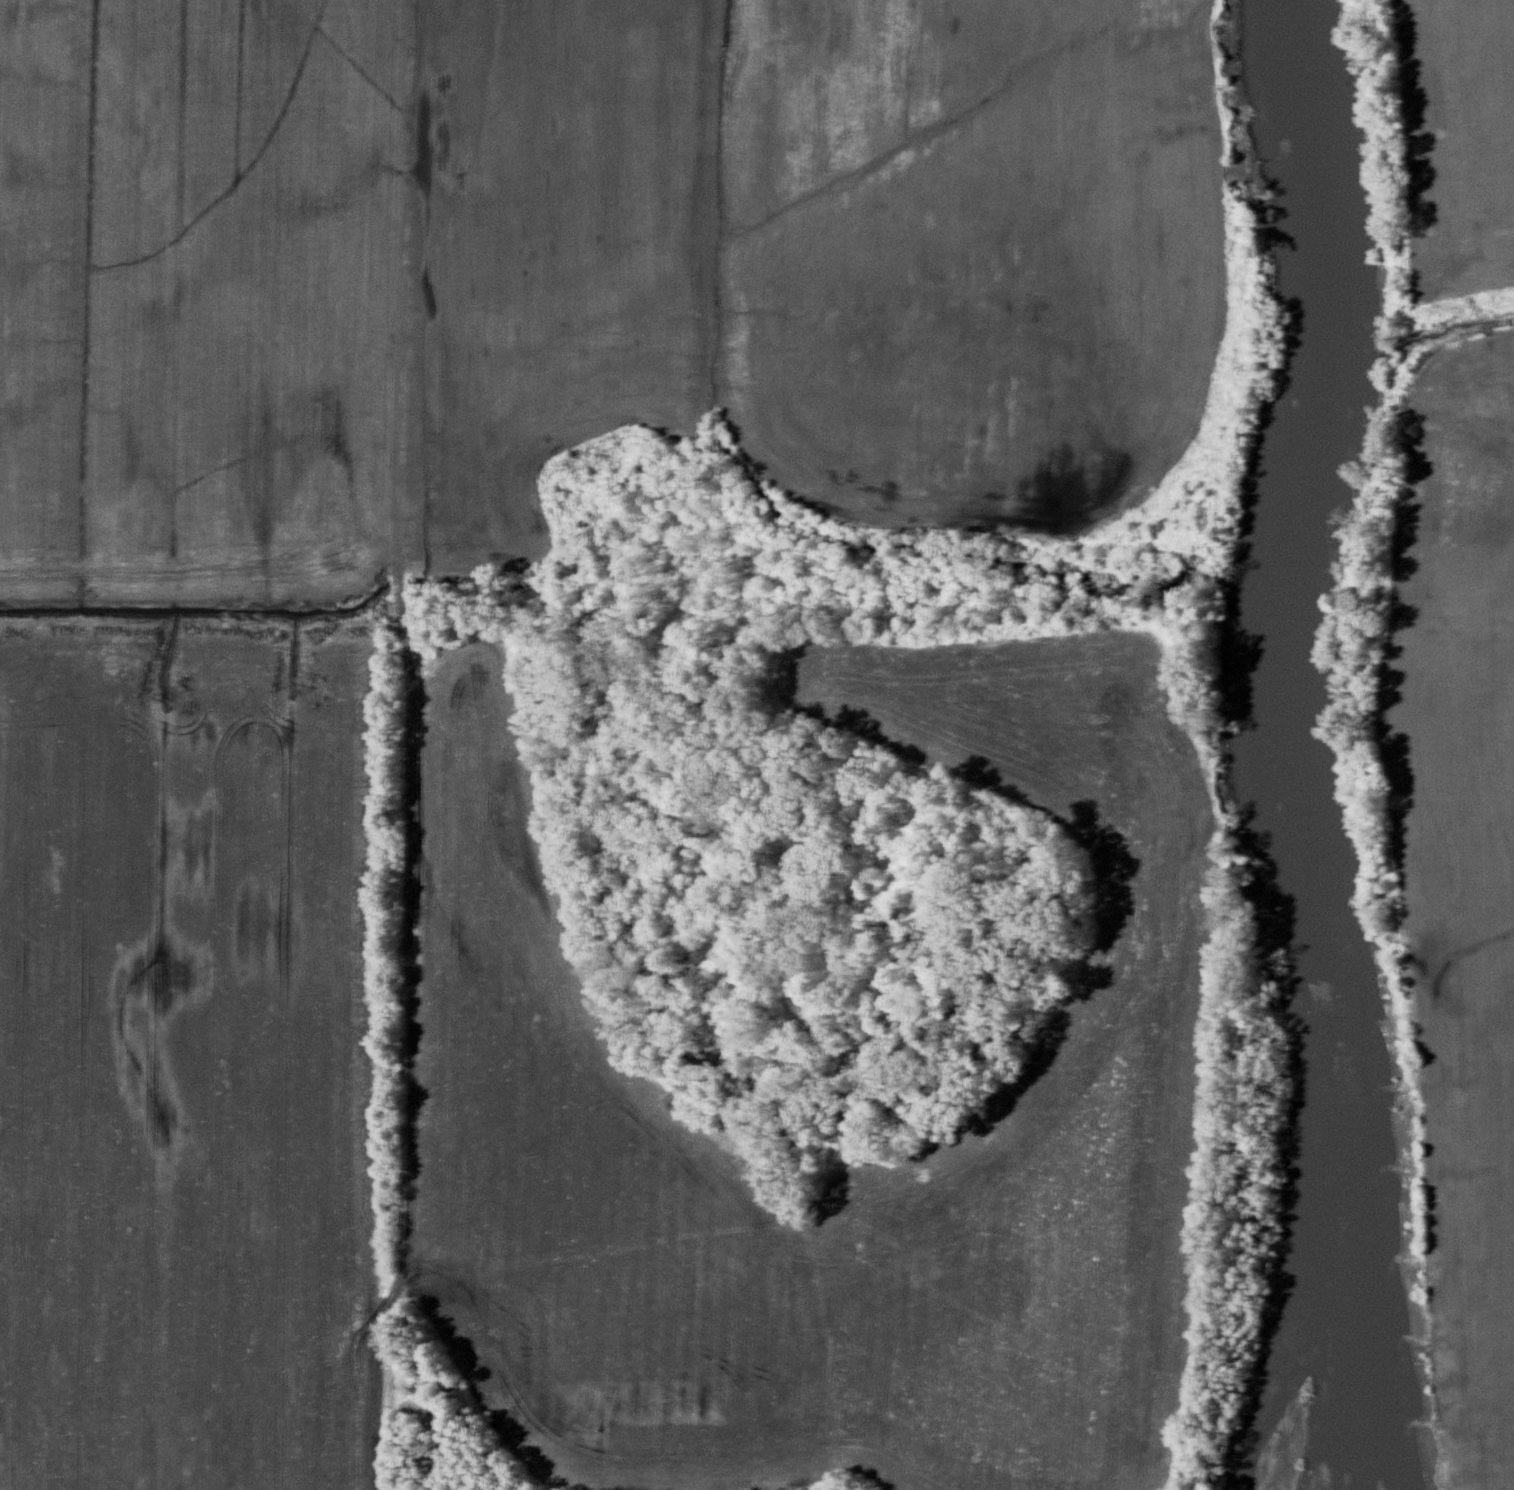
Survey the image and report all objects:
river: (1300, 745)

